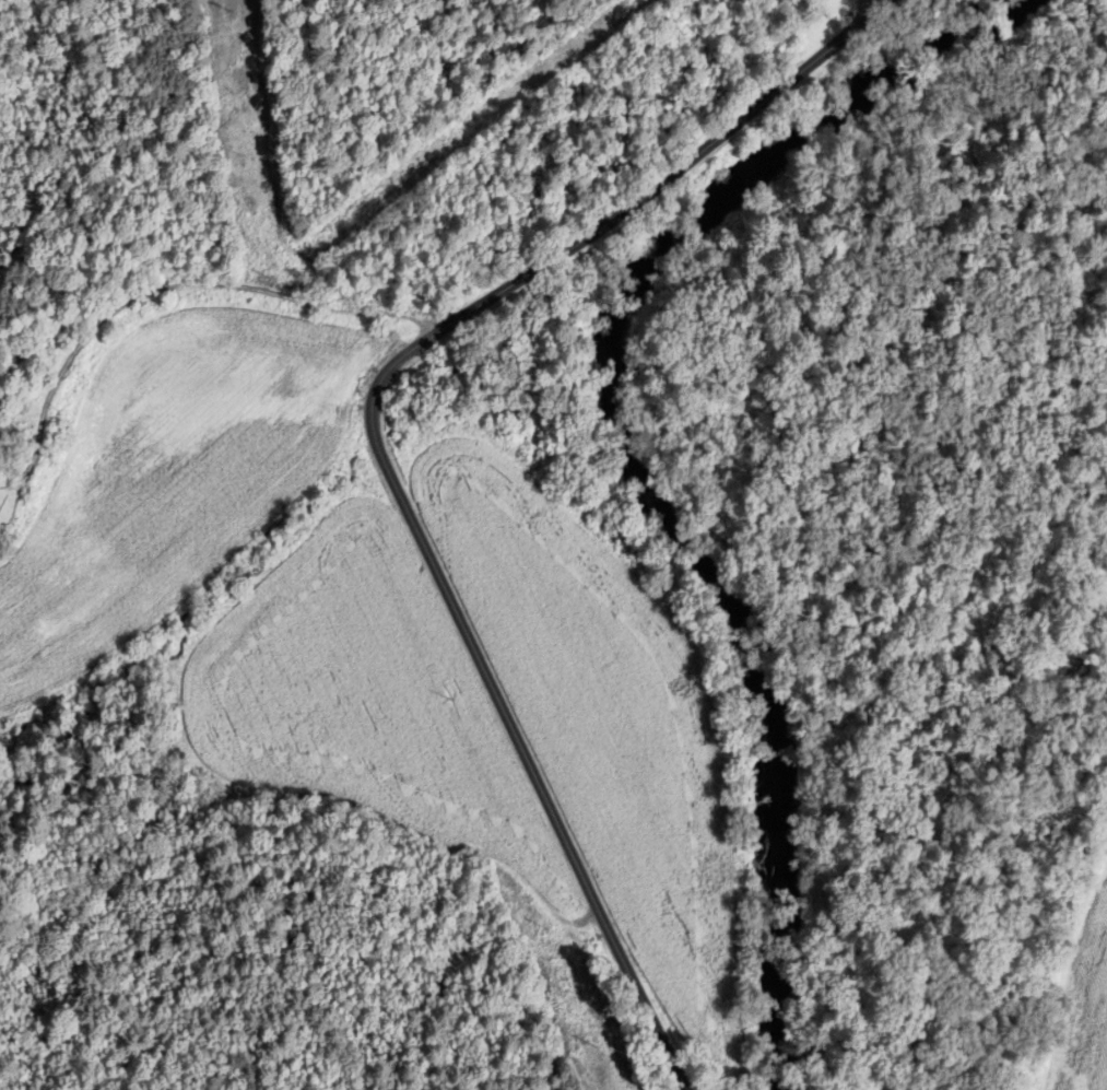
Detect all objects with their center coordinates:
road: (871, 7)
road: (612, 221)
building: (0, 267)
road: (165, 285)
building: (1, 338)
river: (625, 454)
road: (382, 457)
crop: (367, 711)
crop: (607, 719)
road: (534, 777)

